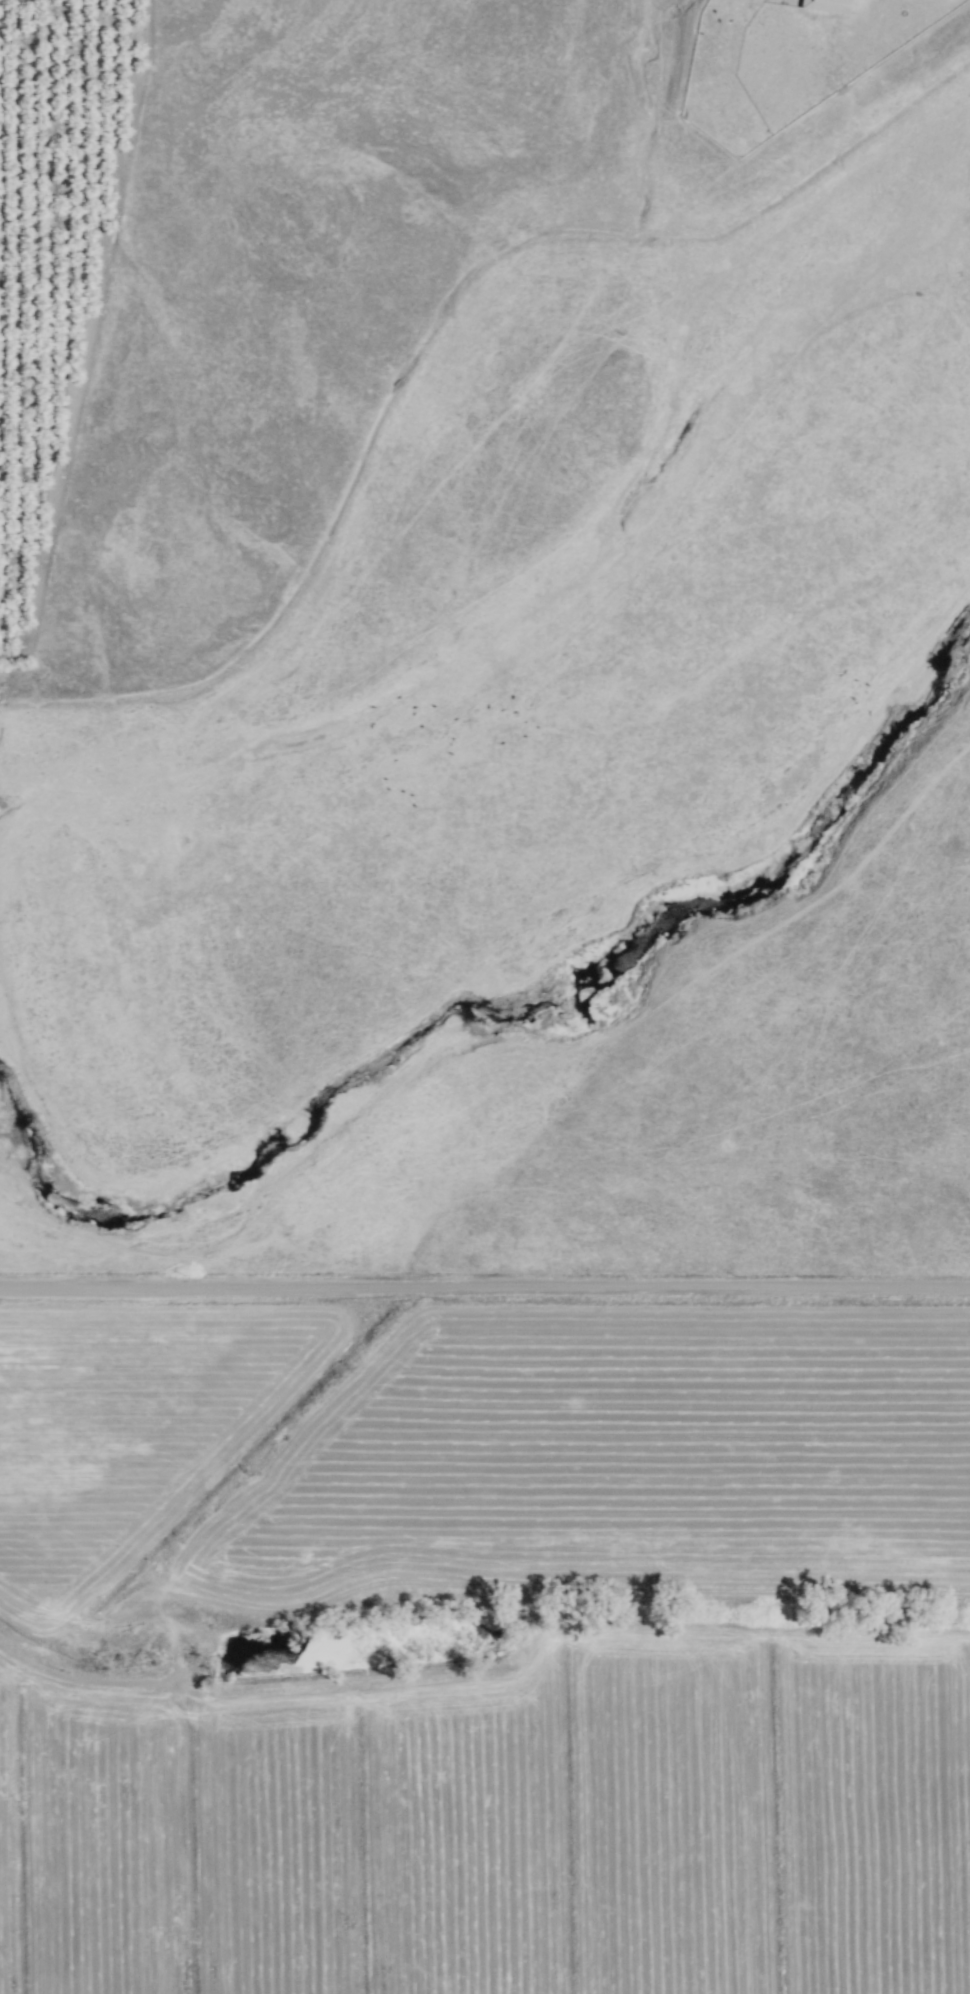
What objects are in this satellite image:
building: (826, 6)
road: (485, 1284)

